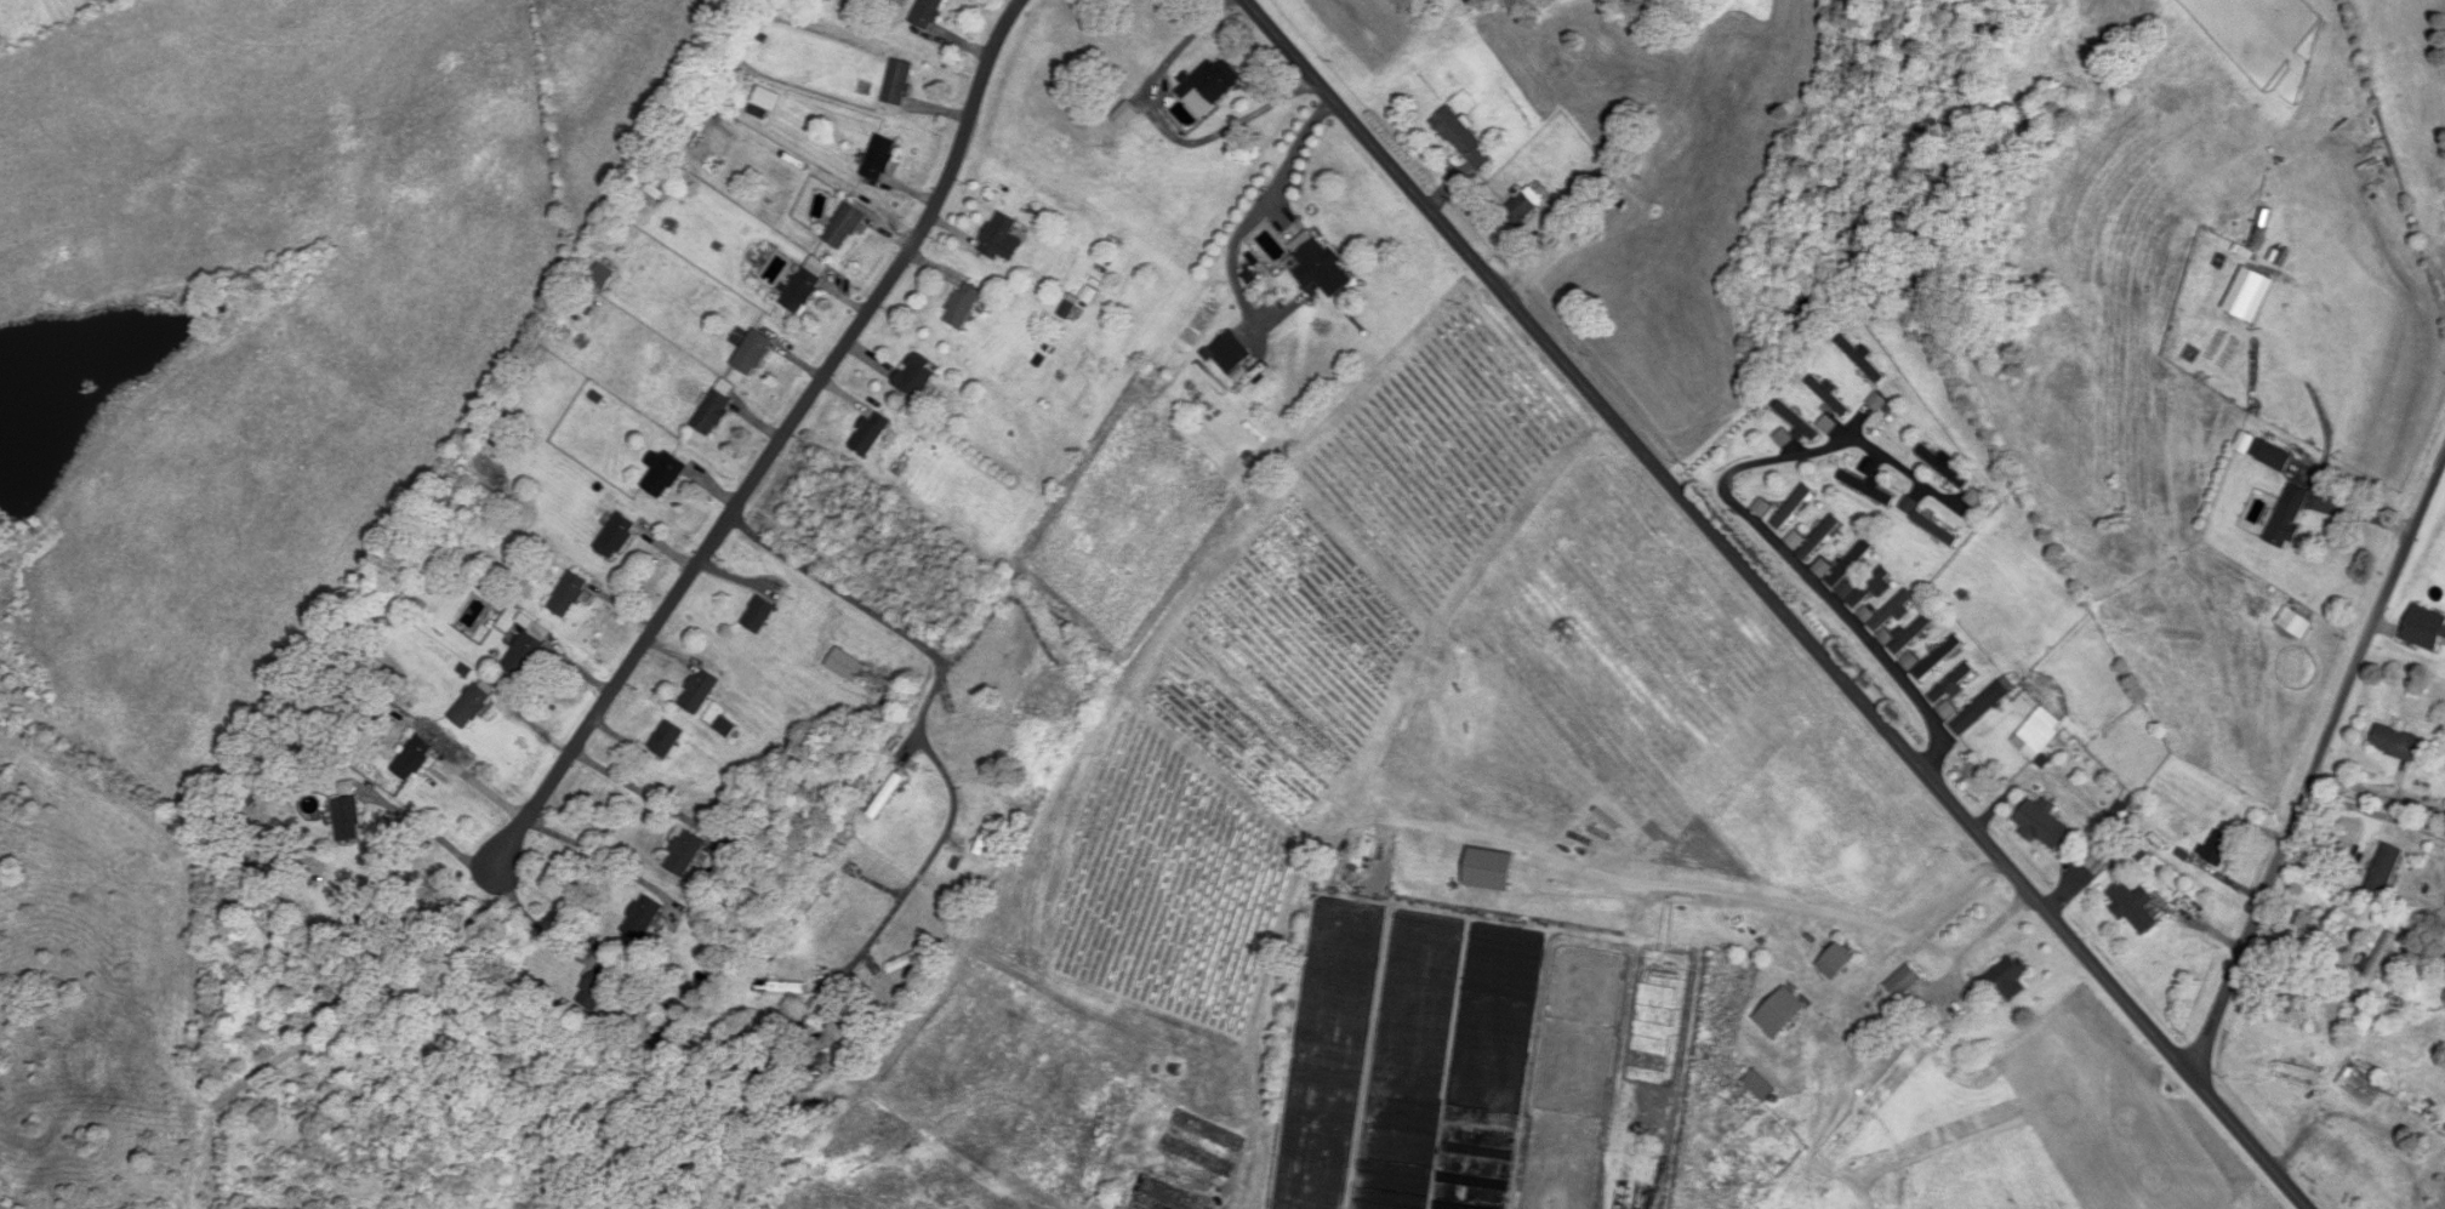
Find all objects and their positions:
building: (927, 13)
building: (1213, 81)
building: (899, 84)
building: (766, 101)
building: (690, 129)
building: (1464, 141)
building: (879, 159)
building: (654, 194)
building: (1524, 206)
building: (844, 228)
building: (1003, 239)
building: (1322, 270)
building: (602, 276)
building: (802, 291)
building: (963, 306)
building: (753, 353)
building: (1230, 353)
building: (1866, 365)
building: (918, 377)
building: (1829, 397)
building: (714, 410)
building: (1797, 421)
building: (872, 433)
road: (780, 443)
building: (2272, 455)
building: (1943, 468)
building: (663, 474)
building: (1868, 489)
building: (1793, 507)
building: (473, 508)
building: (2289, 517)
building: (1936, 529)
building: (616, 537)
building: (1820, 538)
building: (1851, 564)
road: (1805, 570)
building: (1870, 587)
building: (569, 595)
road: (1776, 604)
building: (1892, 611)
building: (758, 616)
building: (2426, 629)
building: (1913, 635)
building: (526, 651)
building: (1938, 658)
building: (847, 666)
building: (1953, 684)
building: (700, 692)
building: (1048, 695)
building: (473, 705)
building: (1982, 708)
road: (925, 709)
building: (970, 726)
building: (2037, 726)
building: (725, 728)
building: (667, 740)
building: (2395, 743)
building: (415, 759)
road: (2315, 766)
road: (481, 786)
road: (644, 793)
building: (887, 797)
building: (348, 821)
building: (2044, 825)
building: (2217, 848)
building: (685, 855)
road: (604, 859)
building: (2384, 872)
building: (820, 893)
building: (2135, 908)
building: (643, 918)
road: (535, 926)
building: (2381, 957)
building: (905, 963)
building: (1839, 963)
building: (2011, 980)
building: (1904, 982)
road: (1931, 987)
building: (598, 988)
building: (780, 988)
building: (1783, 1014)
building: (2363, 1082)
building: (1760, 1088)
building: (2420, 1110)
road: (2363, 1122)

